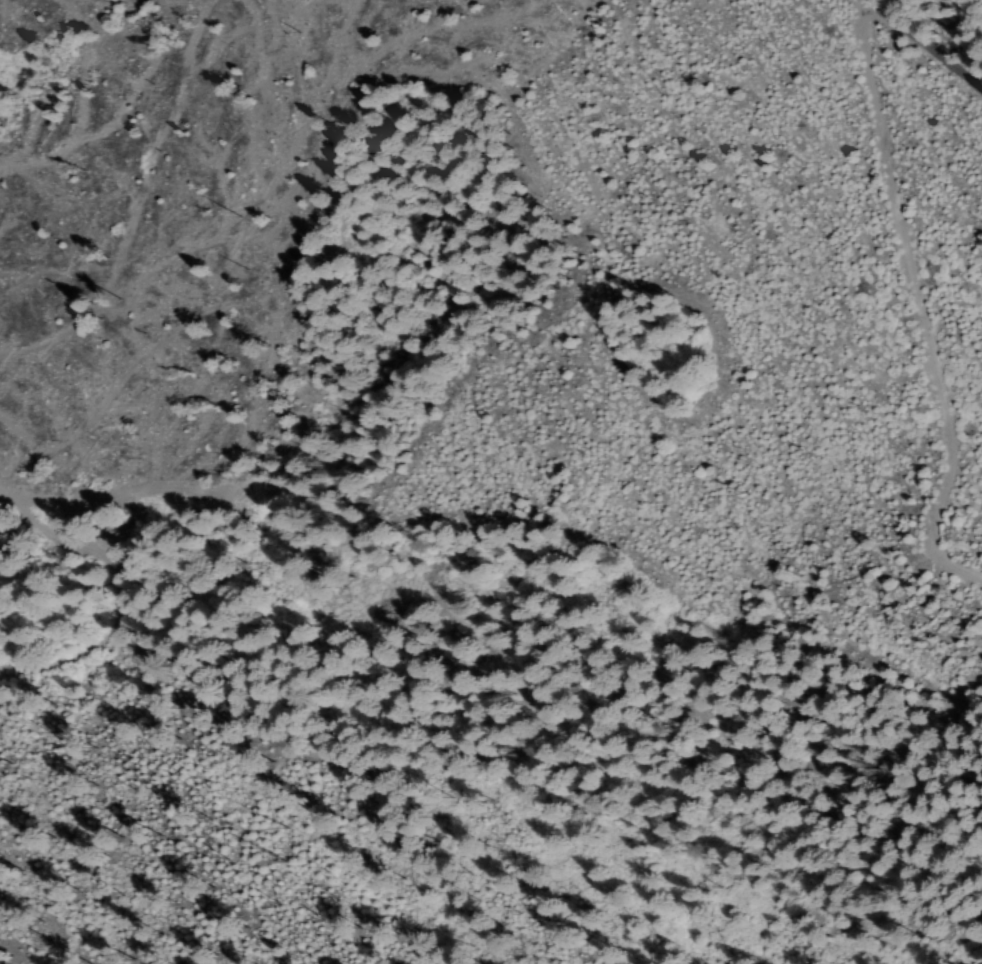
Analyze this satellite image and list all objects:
road: (95, 581)

